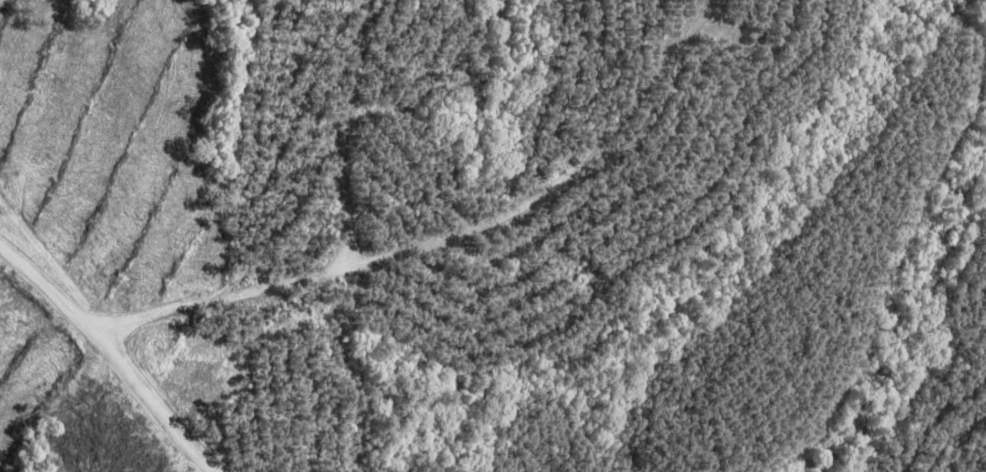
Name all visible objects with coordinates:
road: (177, 353)

